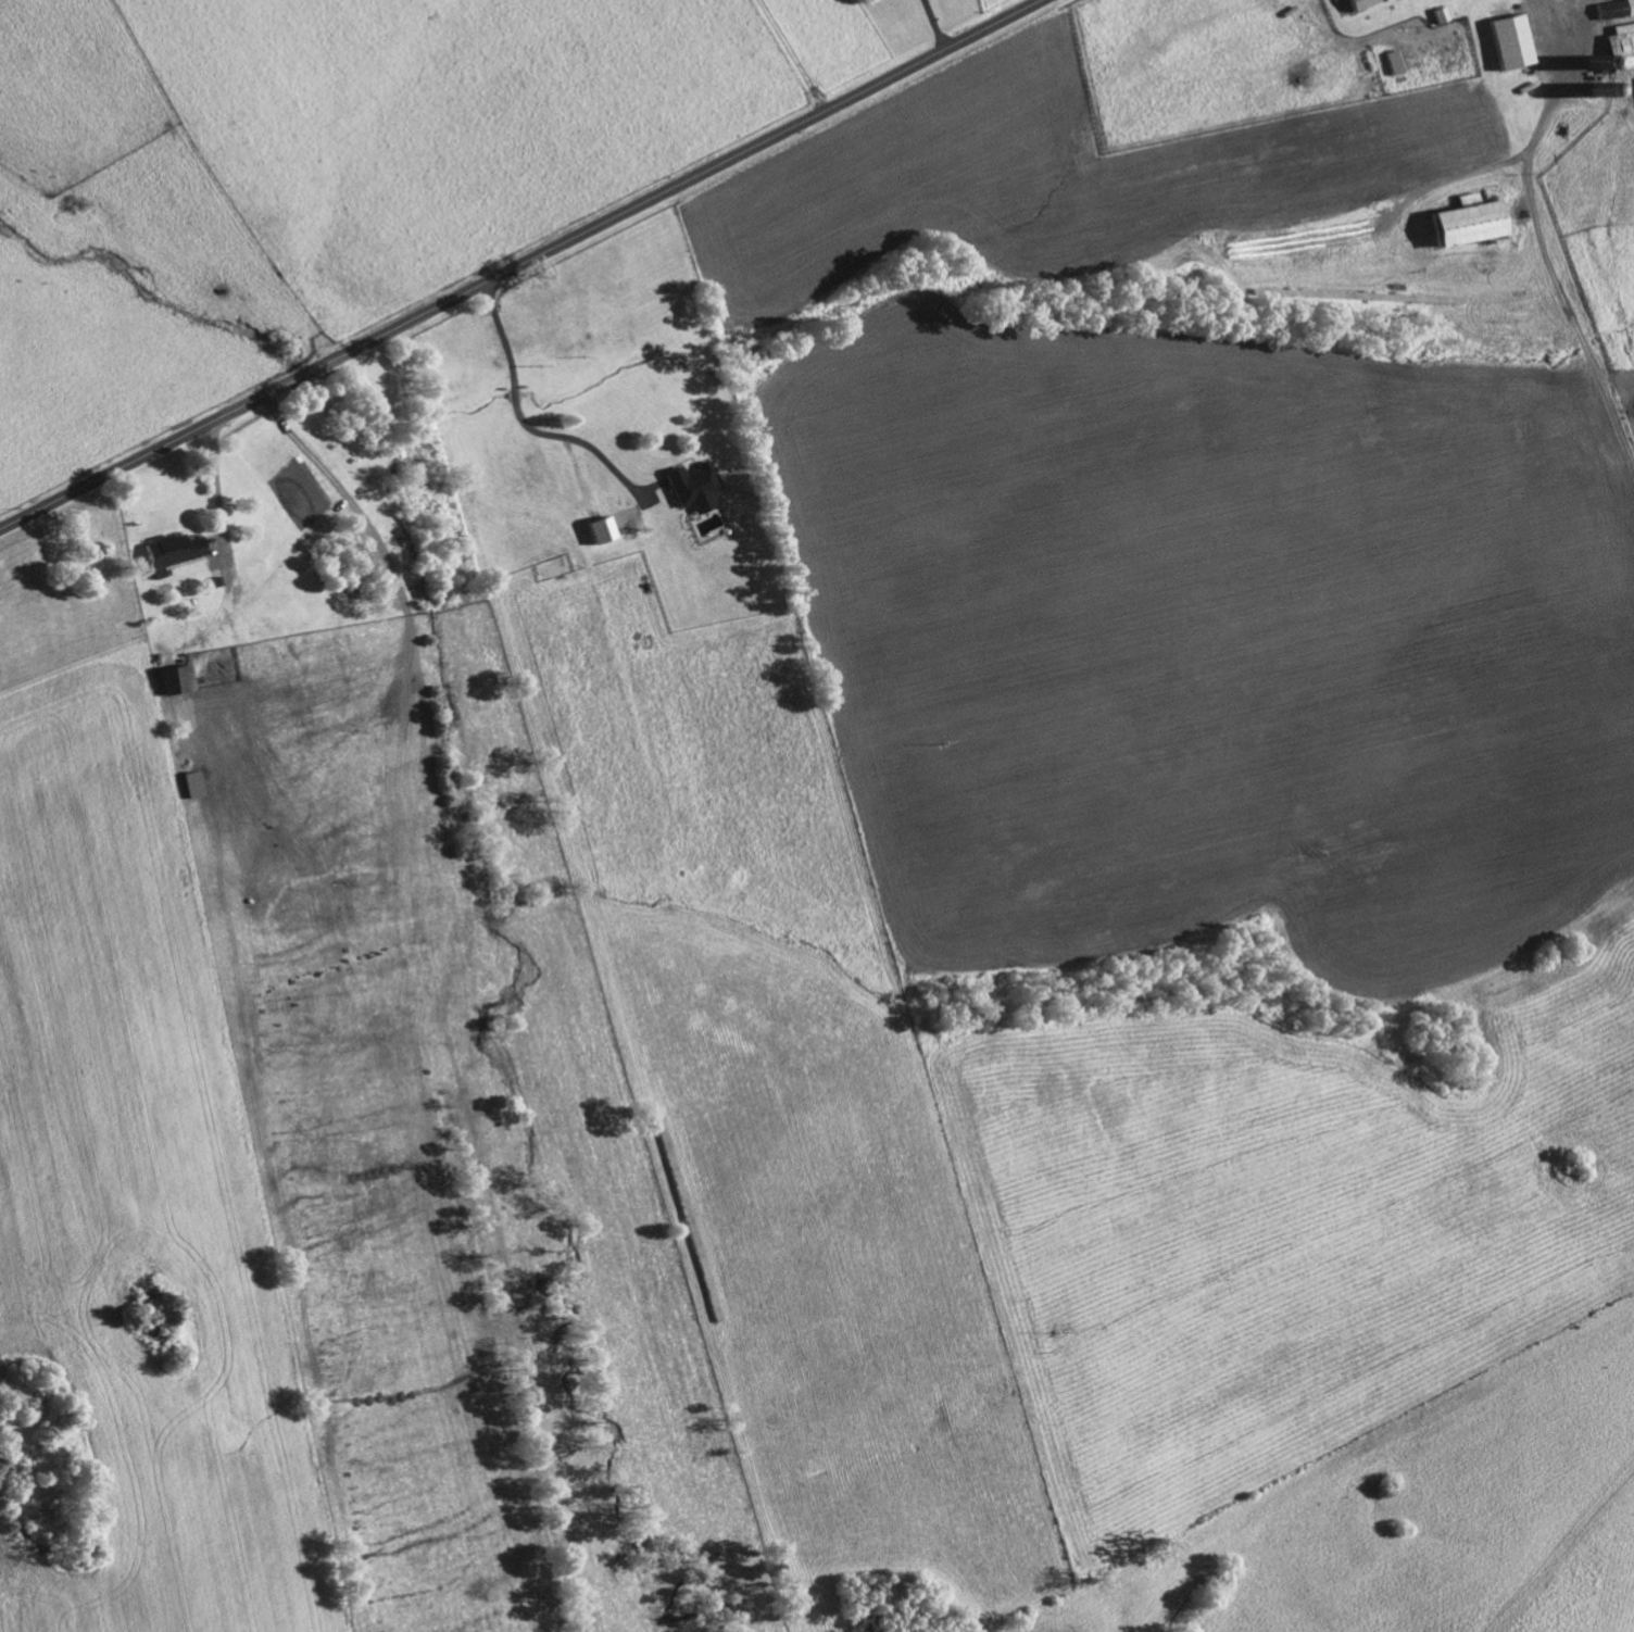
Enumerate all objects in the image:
building: (1361, 4)
building: (1616, 10)
building: (1512, 43)
building: (1621, 48)
building: (1395, 64)
road: (1549, 106)
building: (1469, 224)
road: (518, 263)
building: (695, 487)
building: (626, 520)
building: (601, 530)
building: (176, 679)

